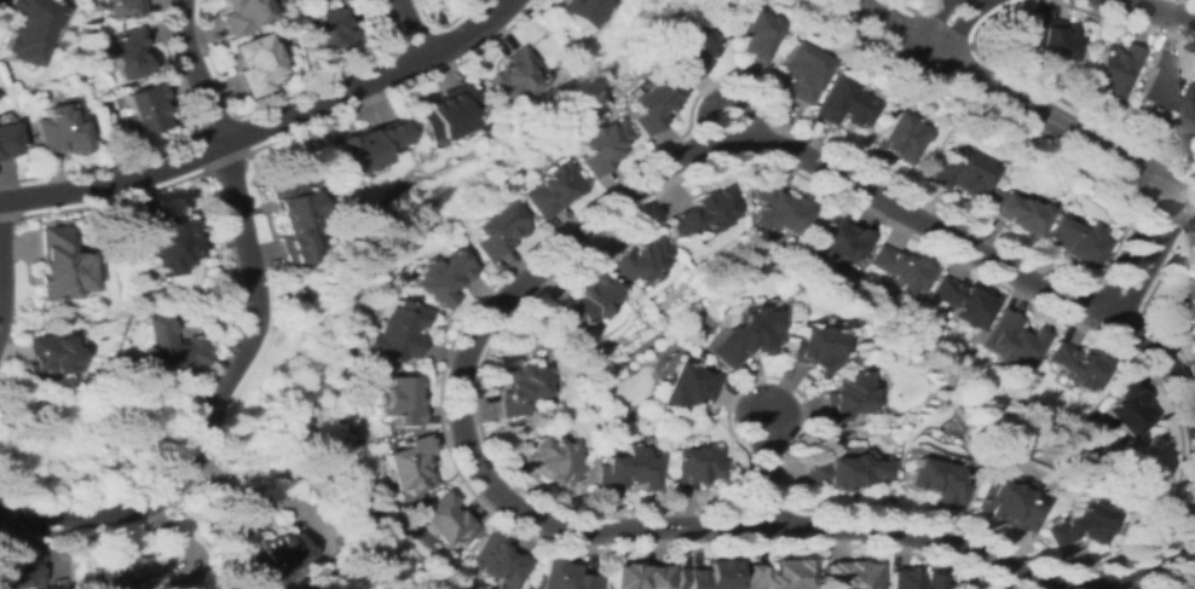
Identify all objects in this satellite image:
building: (122, 8)
building: (578, 10)
road: (1156, 11)
building: (241, 15)
building: (334, 28)
building: (27, 29)
road: (399, 30)
building: (83, 31)
road: (940, 35)
building: (751, 36)
building: (1052, 37)
road: (929, 45)
building: (685, 51)
building: (128, 52)
building: (253, 64)
building: (1113, 70)
road: (192, 71)
building: (797, 71)
building: (513, 77)
building: (1159, 85)
road: (723, 98)
building: (841, 103)
building: (652, 104)
road: (1022, 106)
building: (145, 108)
building: (443, 111)
building: (1188, 117)
road: (261, 122)
building: (57, 131)
building: (896, 139)
building: (6, 140)
building: (364, 145)
building: (601, 145)
building: (957, 174)
building: (552, 189)
building: (778, 207)
building: (1014, 212)
building: (702, 213)
building: (289, 221)
building: (496, 231)
building: (839, 239)
building: (1073, 241)
building: (163, 242)
road: (1138, 255)
building: (639, 261)
building: (57, 266)
building: (899, 268)
building: (441, 277)
road: (0, 293)
building: (588, 301)
building: (959, 302)
building: (1182, 304)
building: (398, 333)
building: (741, 336)
building: (1010, 341)
building: (167, 347)
building: (810, 348)
building: (47, 356)
road: (462, 359)
building: (1074, 365)
building: (686, 386)
building: (519, 389)
building: (844, 397)
building: (400, 400)
road: (214, 402)
building: (1127, 409)
building: (547, 462)
building: (409, 464)
building: (692, 467)
building: (623, 468)
road: (763, 469)
building: (843, 472)
building: (934, 480)
building: (999, 506)
building: (448, 522)
building: (1076, 522)
building: (276, 554)
building: (500, 564)
building: (21, 567)
building: (134, 570)
building: (641, 574)
building: (778, 574)
building: (848, 576)
building: (564, 577)
building: (709, 577)
building: (912, 579)

